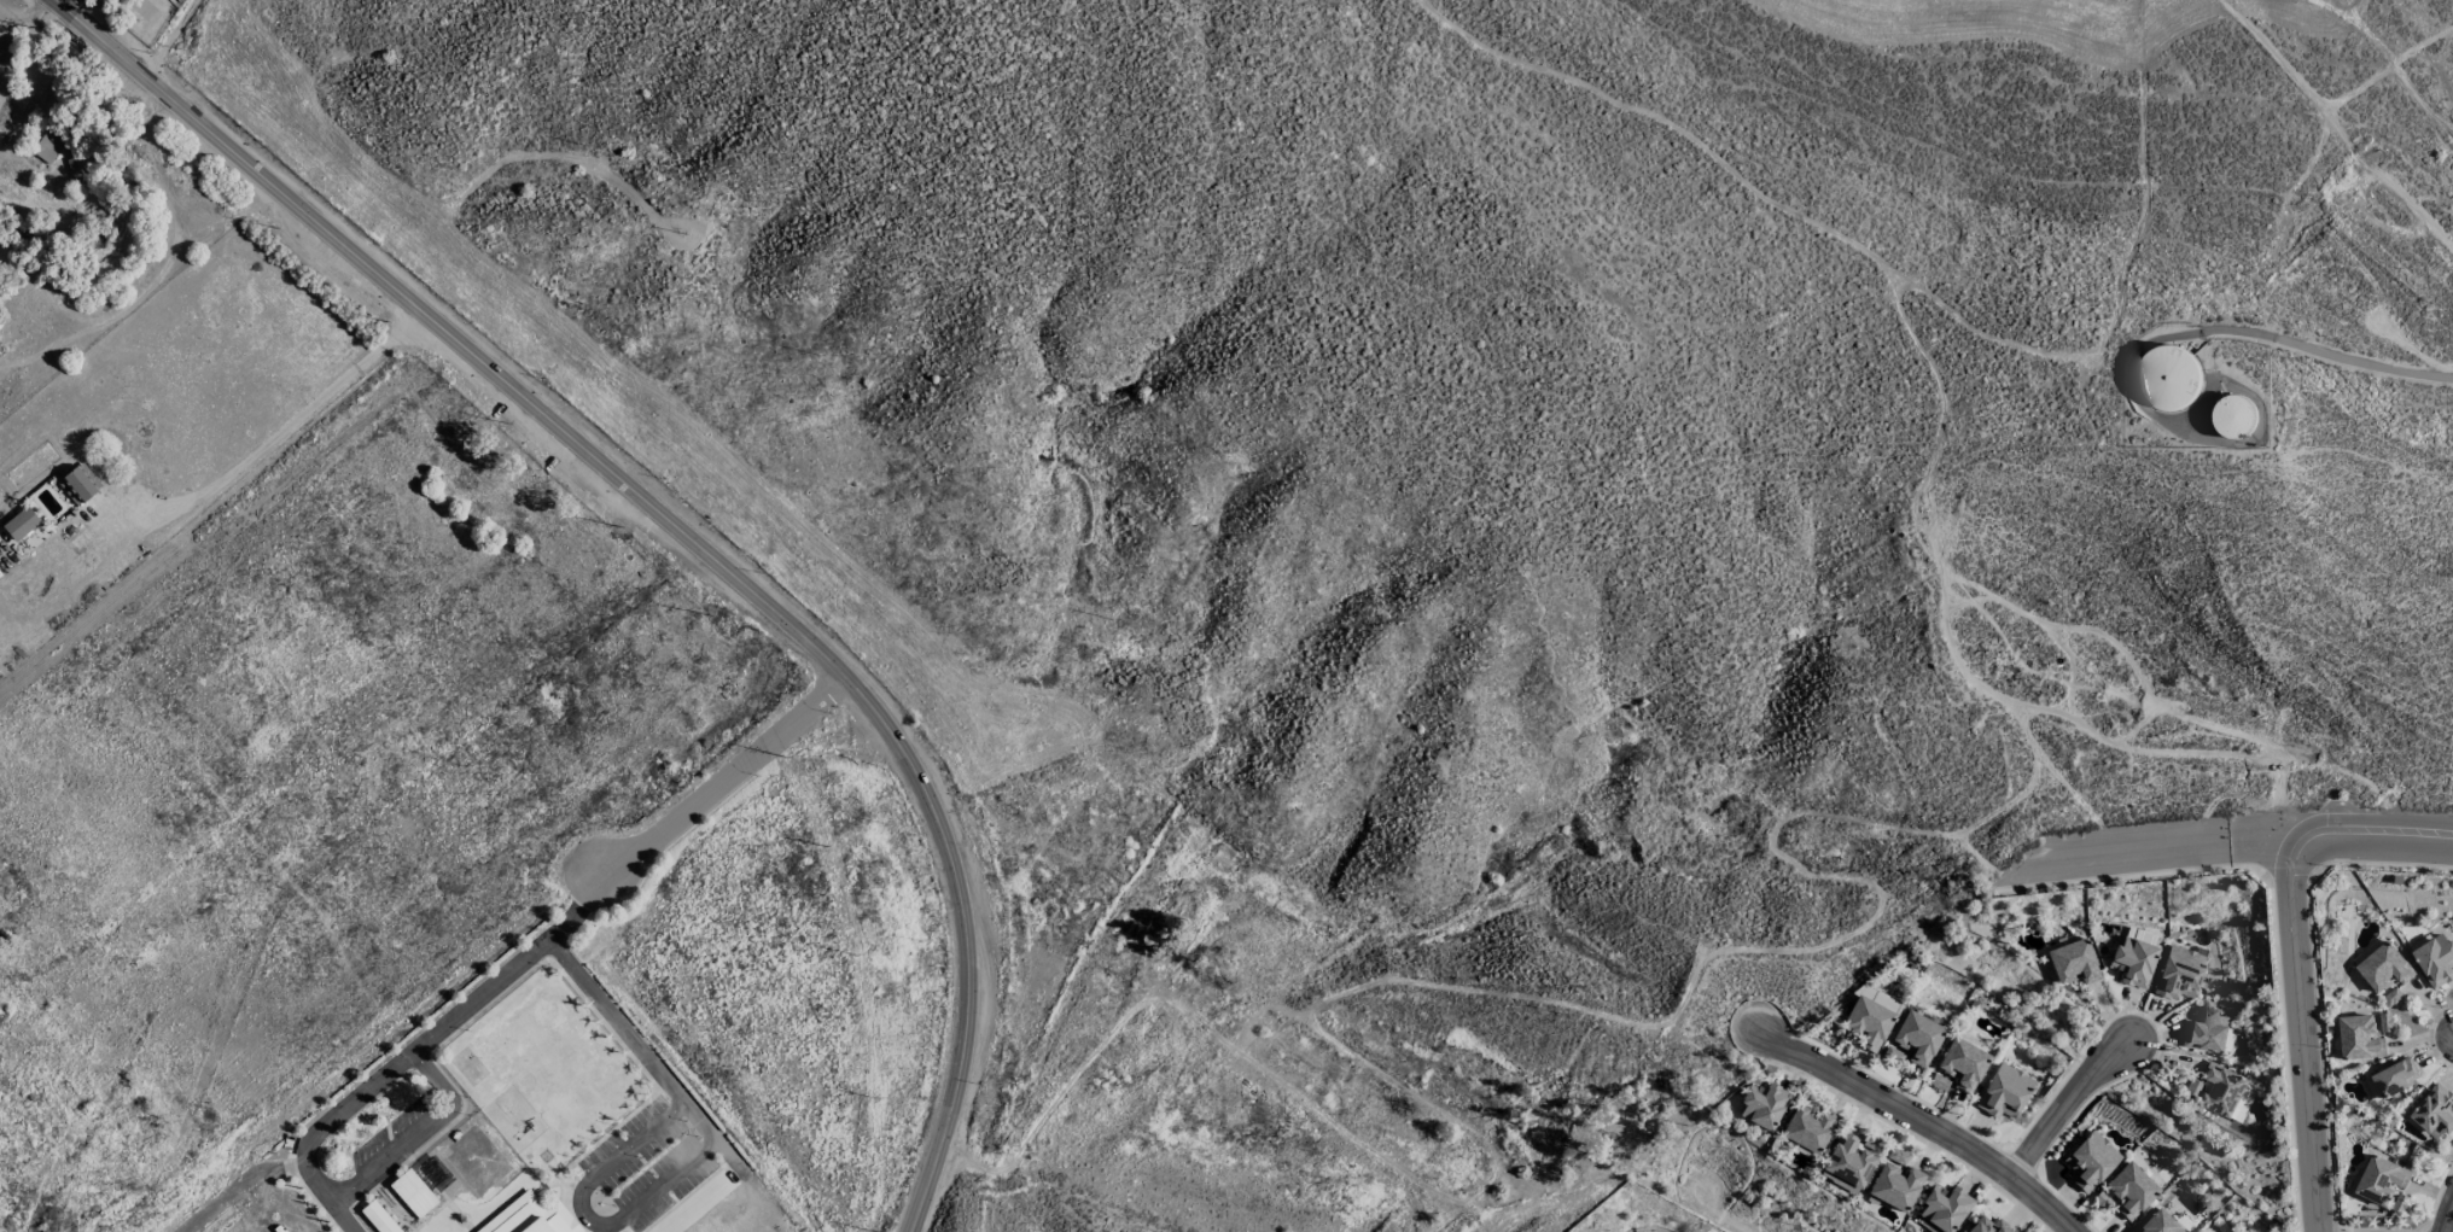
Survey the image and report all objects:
road: (2341, 122)
building: (48, 145)
road: (2238, 326)
building: (2169, 376)
building: (2234, 416)
road: (286, 427)
building: (77, 484)
building: (19, 524)
road: (682, 524)
road: (732, 773)
road: (2384, 837)
building: (2435, 961)
building: (2072, 962)
building: (2132, 962)
building: (2382, 964)
building: (2179, 973)
road: (455, 1015)
building: (1869, 1017)
building: (2385, 1022)
road: (2306, 1028)
building: (2206, 1032)
building: (1917, 1038)
building: (2360, 1038)
building: (1890, 1053)
building: (1962, 1064)
building: (2395, 1078)
building: (1938, 1081)
building: (2004, 1092)
building: (2227, 1092)
road: (2067, 1102)
building: (1762, 1105)
building: (2435, 1111)
road: (1925, 1121)
building: (1810, 1128)
road: (419, 1133)
building: (2090, 1160)
road: (688, 1161)
building: (1847, 1163)
building: (2381, 1180)
building: (1894, 1186)
road: (239, 1189)
building: (2129, 1190)
building: (412, 1193)
road: (328, 1198)
building: (2400, 1203)
building: (1944, 1207)
building: (378, 1218)
building: (531, 1218)
building: (2156, 1222)
road: (2448, 1222)
building: (1988, 1226)

